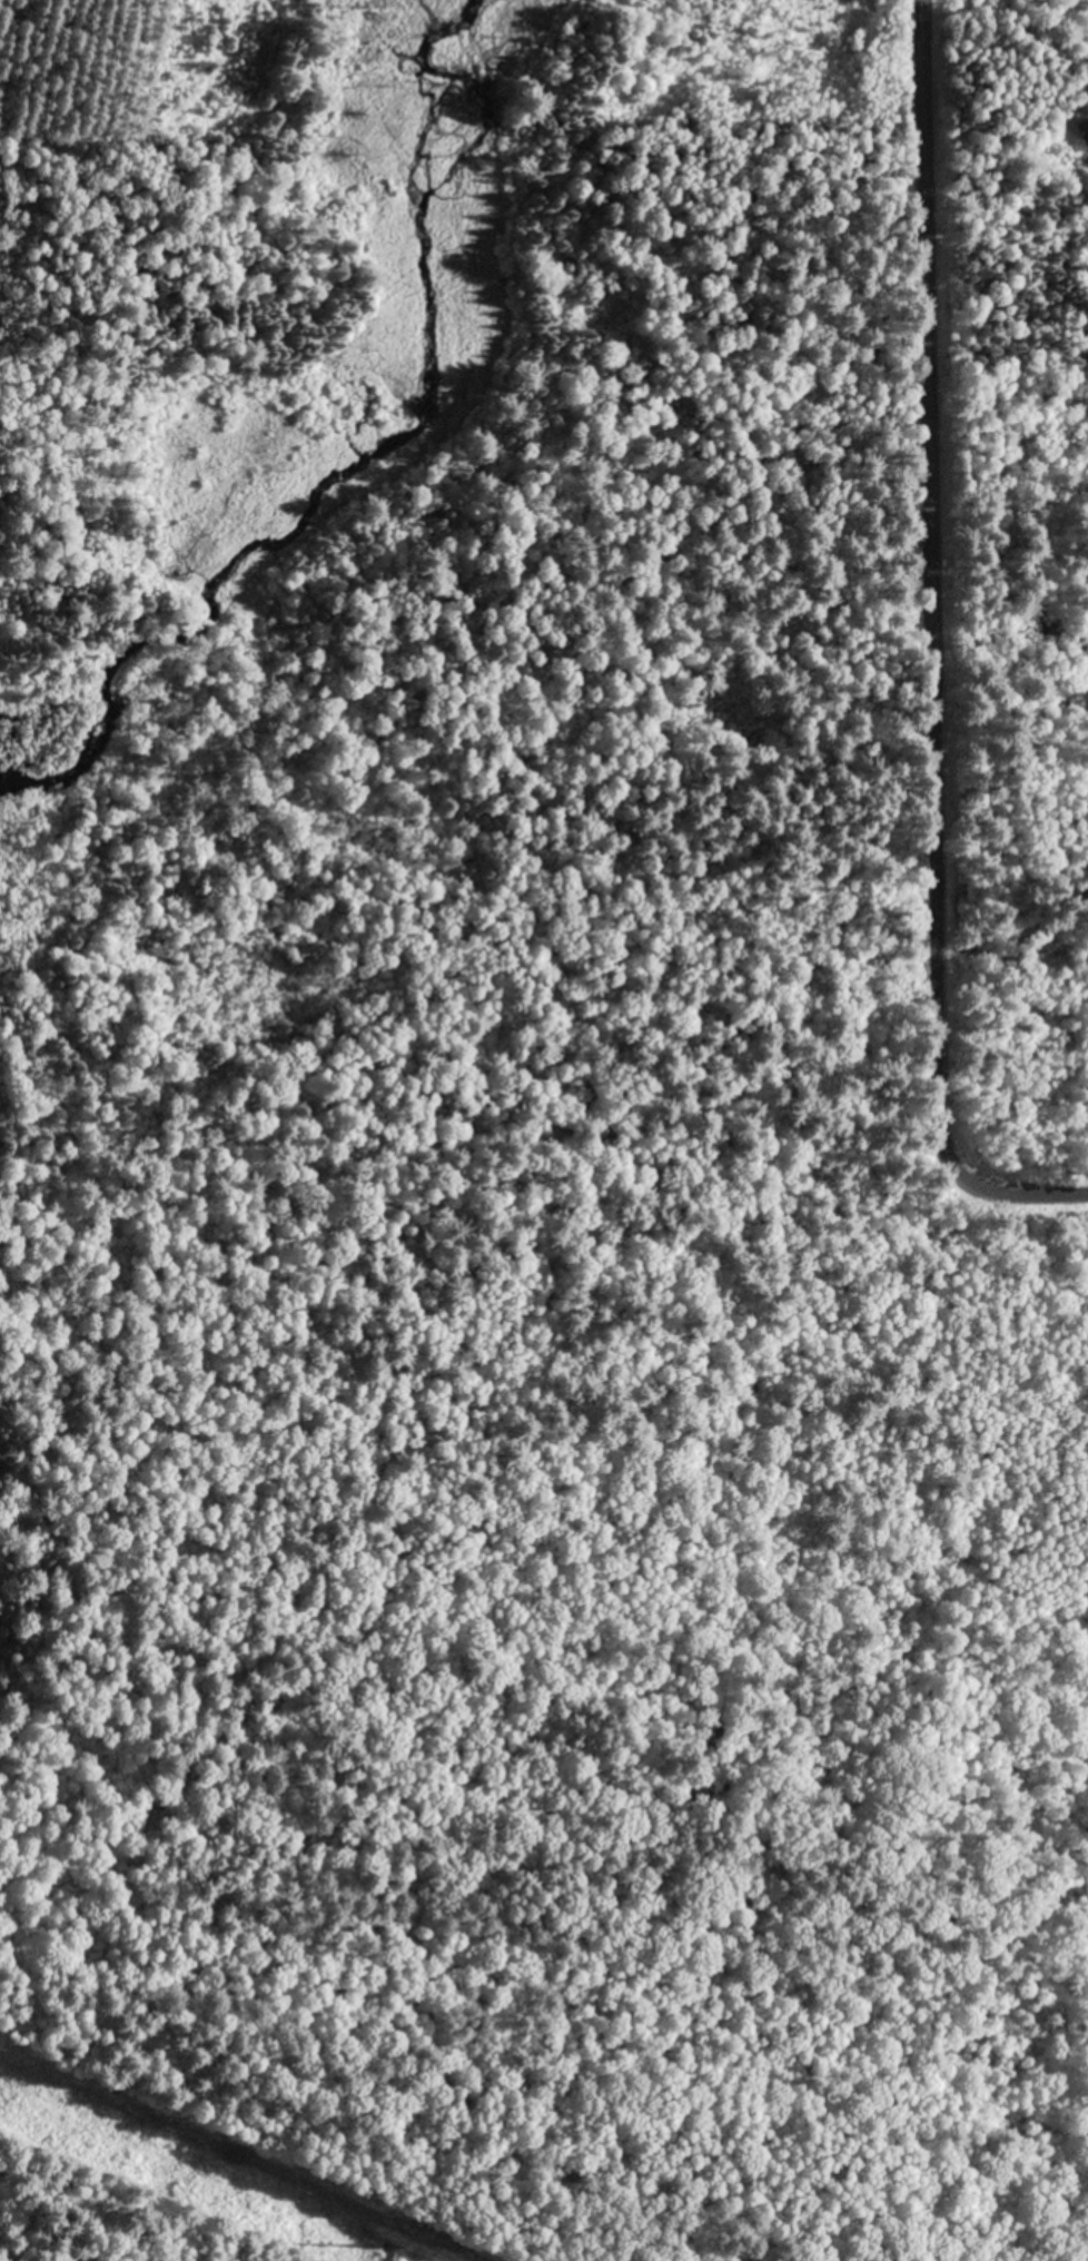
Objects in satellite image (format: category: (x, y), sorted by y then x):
road: (932, 590)
road: (1022, 1195)
power tower: (389, 2247)

